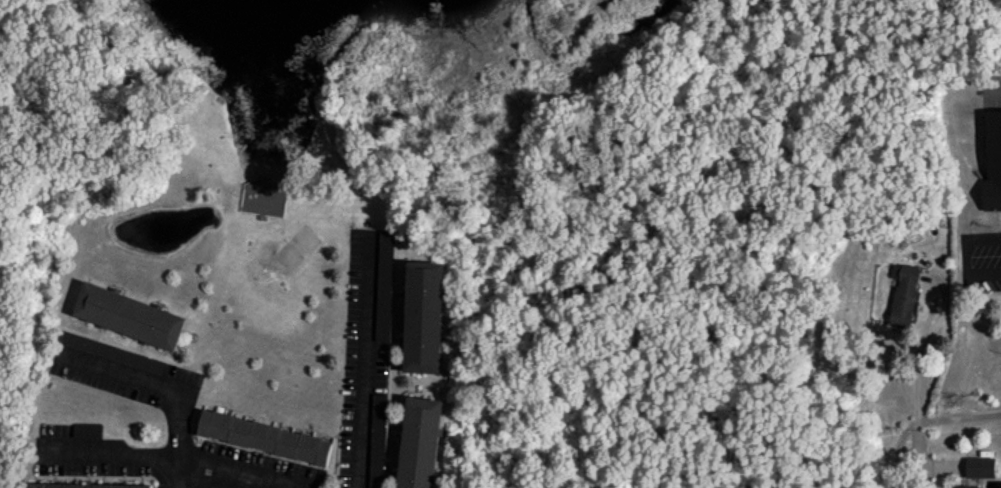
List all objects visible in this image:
building: (993, 162)
park: (691, 177)
road: (972, 255)
building: (386, 280)
building: (905, 293)
building: (129, 315)
building: (425, 316)
road: (361, 365)
road: (917, 369)
road: (150, 377)
road: (923, 420)
building: (266, 436)
building: (378, 440)
building: (420, 442)
road: (112, 450)
road: (918, 466)
building: (981, 466)
road: (218, 471)
building: (85, 485)
building: (965, 486)

